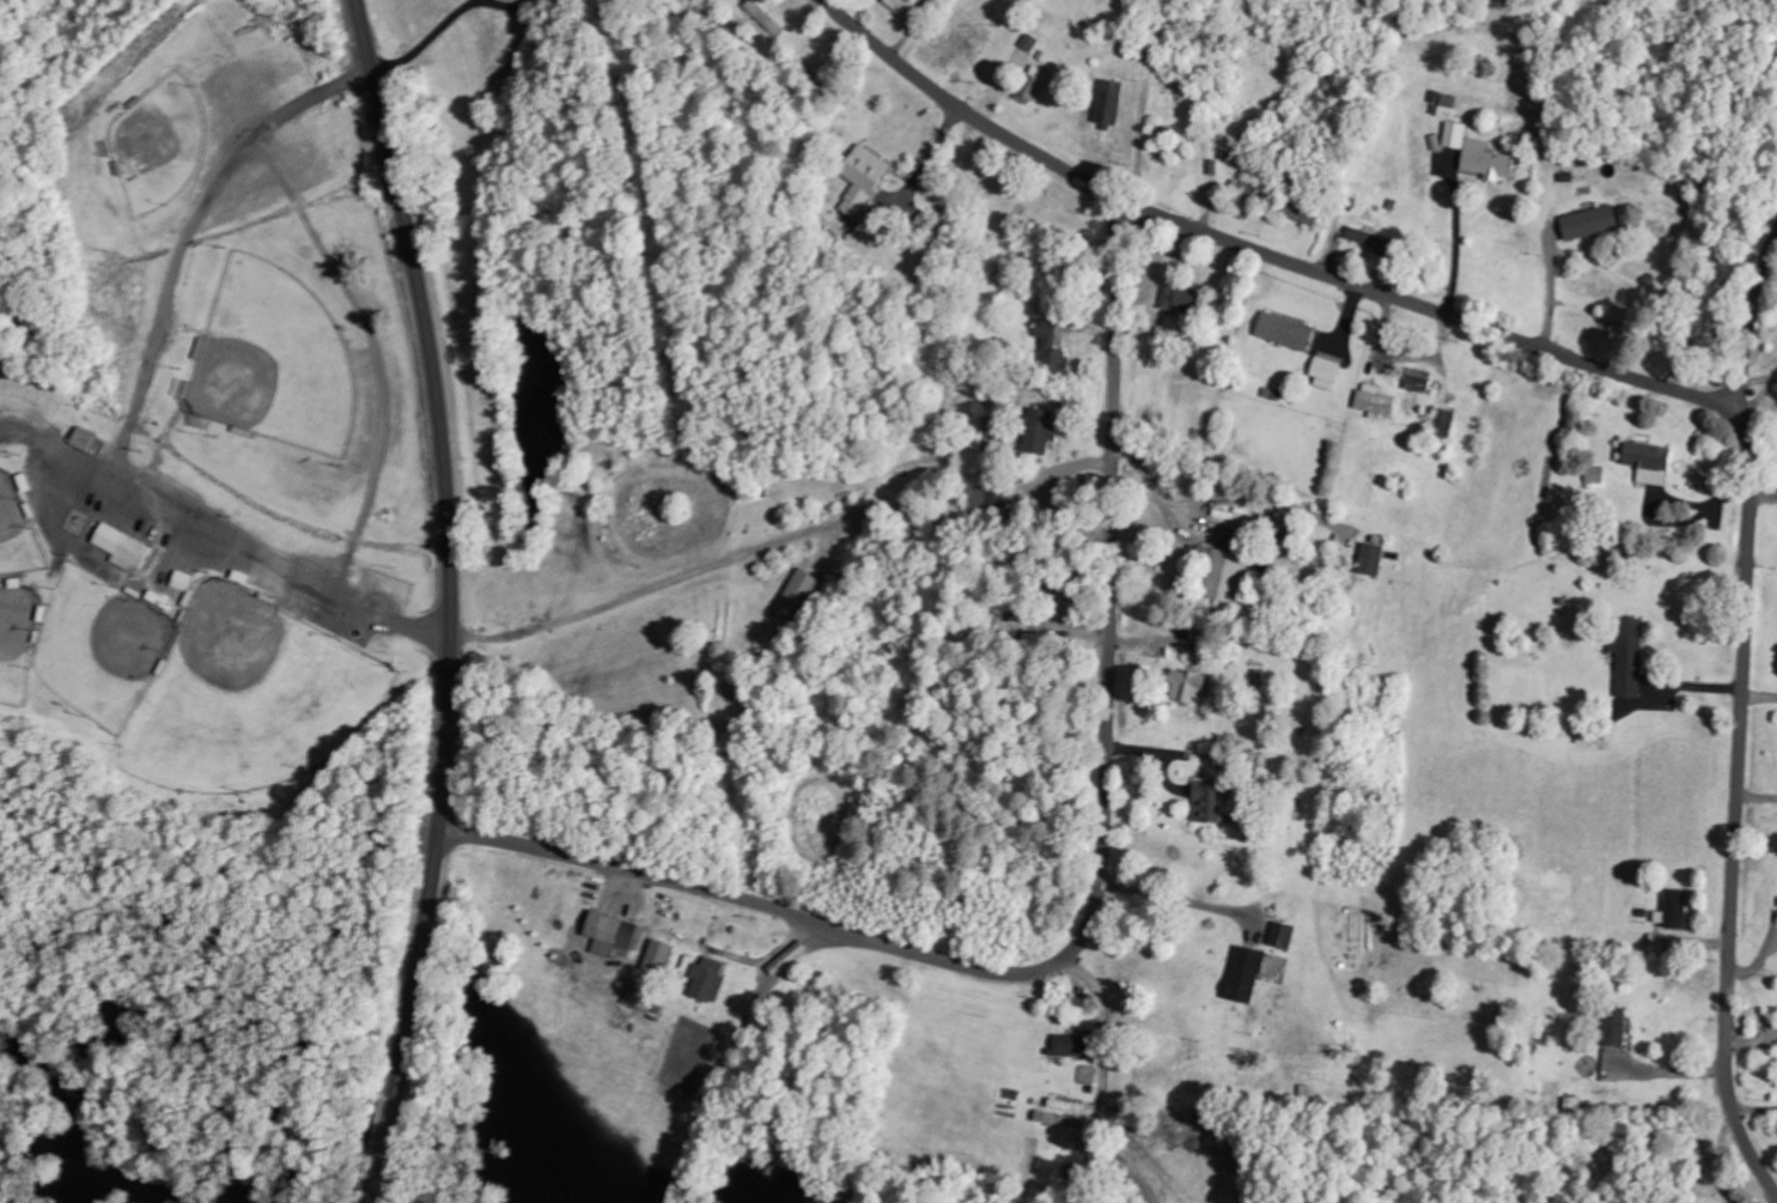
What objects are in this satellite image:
building: (902, 6)
building: (1029, 42)
building: (1035, 81)
building: (1108, 102)
building: (1448, 105)
building: (1455, 134)
building: (863, 174)
building: (1243, 187)
building: (1589, 223)
building: (1358, 235)
building: (1180, 299)
road: (1749, 321)
building: (1285, 330)
building: (1051, 347)
building: (1326, 373)
road: (1637, 375)
building: (1418, 379)
building: (1374, 400)
building: (1444, 423)
building: (1039, 430)
building: (81, 438)
building: (1648, 462)
building: (1594, 475)
road: (450, 545)
building: (121, 547)
building: (1370, 558)
building: (1223, 575)
building: (797, 597)
building: (1629, 656)
building: (1186, 685)
building: (1206, 802)
road: (1093, 900)
building: (1675, 907)
building: (613, 935)
building: (1282, 935)
building: (658, 956)
building: (1244, 974)
building: (707, 980)
building: (1614, 1027)
building: (1072, 1046)
building: (1067, 1118)
river: (81, 1137)
road: (387, 1149)

